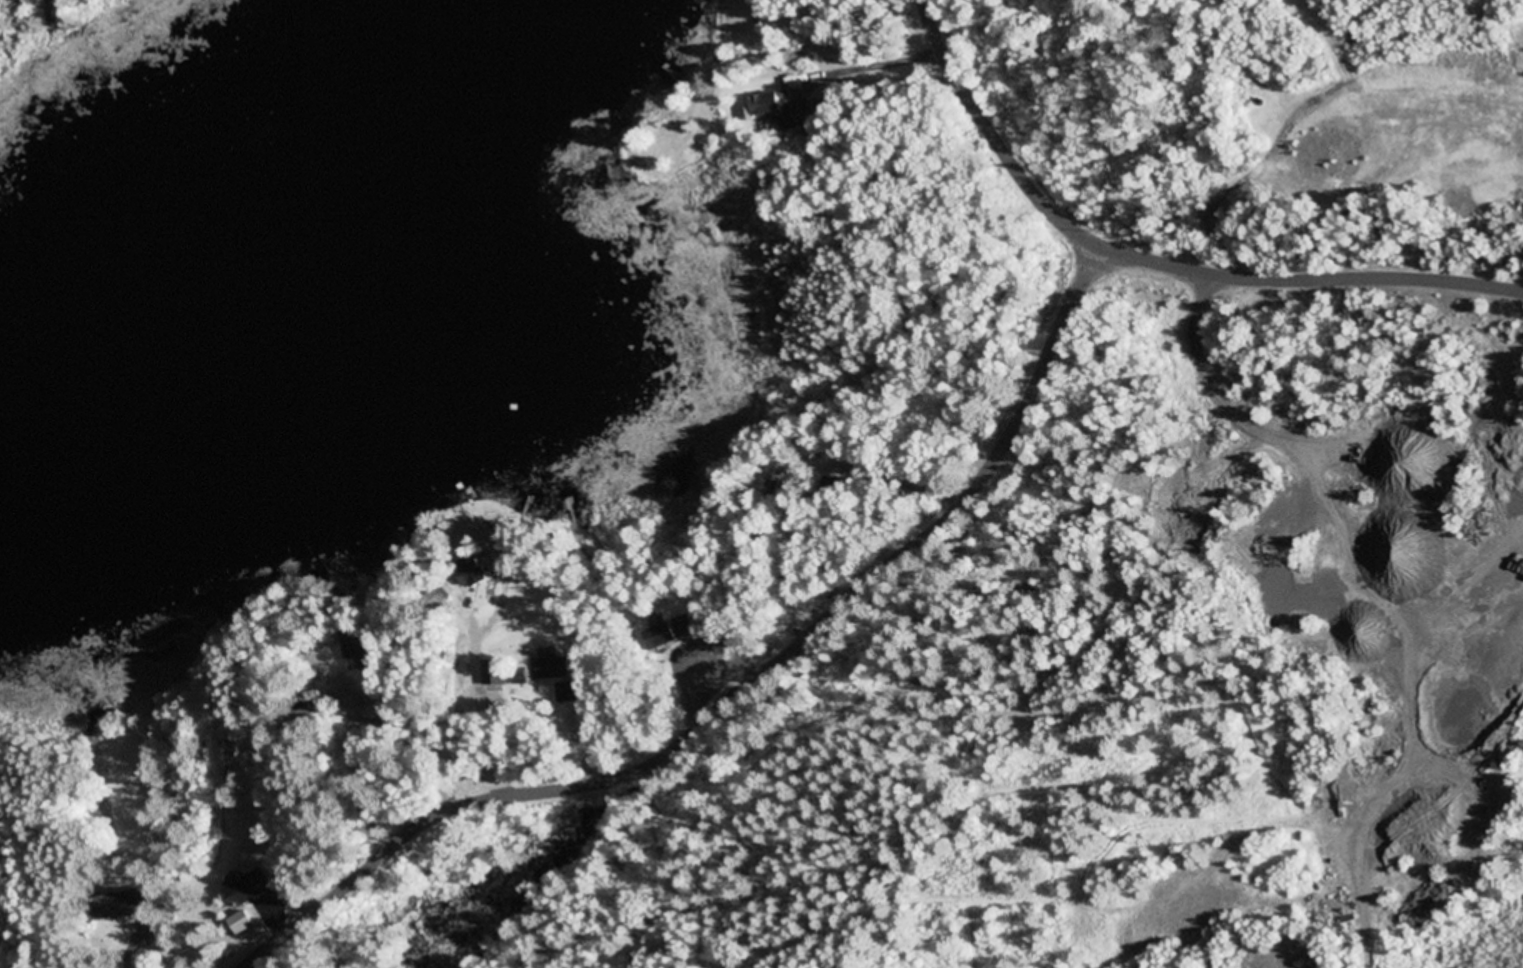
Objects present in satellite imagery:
building: (797, 55)
building: (768, 105)
building: (817, 108)
road: (1159, 259)
building: (473, 573)
building: (684, 627)
building: (660, 637)
building: (361, 654)
building: (553, 669)
building: (496, 676)
building: (564, 693)
road: (746, 693)
building: (380, 708)
building: (250, 889)
building: (120, 907)

